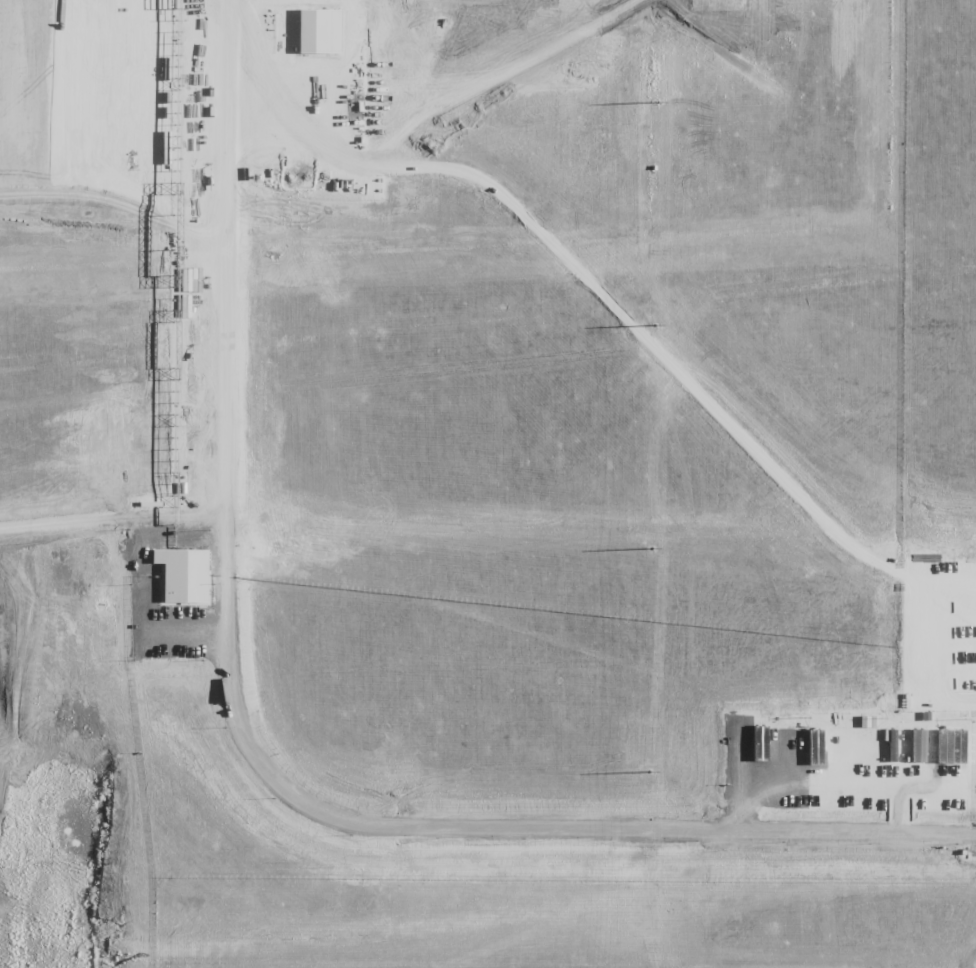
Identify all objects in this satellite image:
crop: (488, 484)

